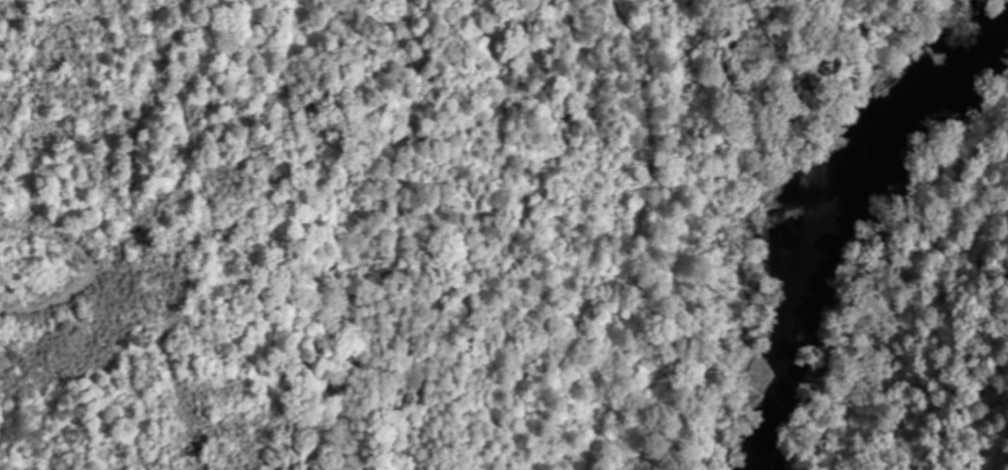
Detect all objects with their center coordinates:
river: (835, 224)

